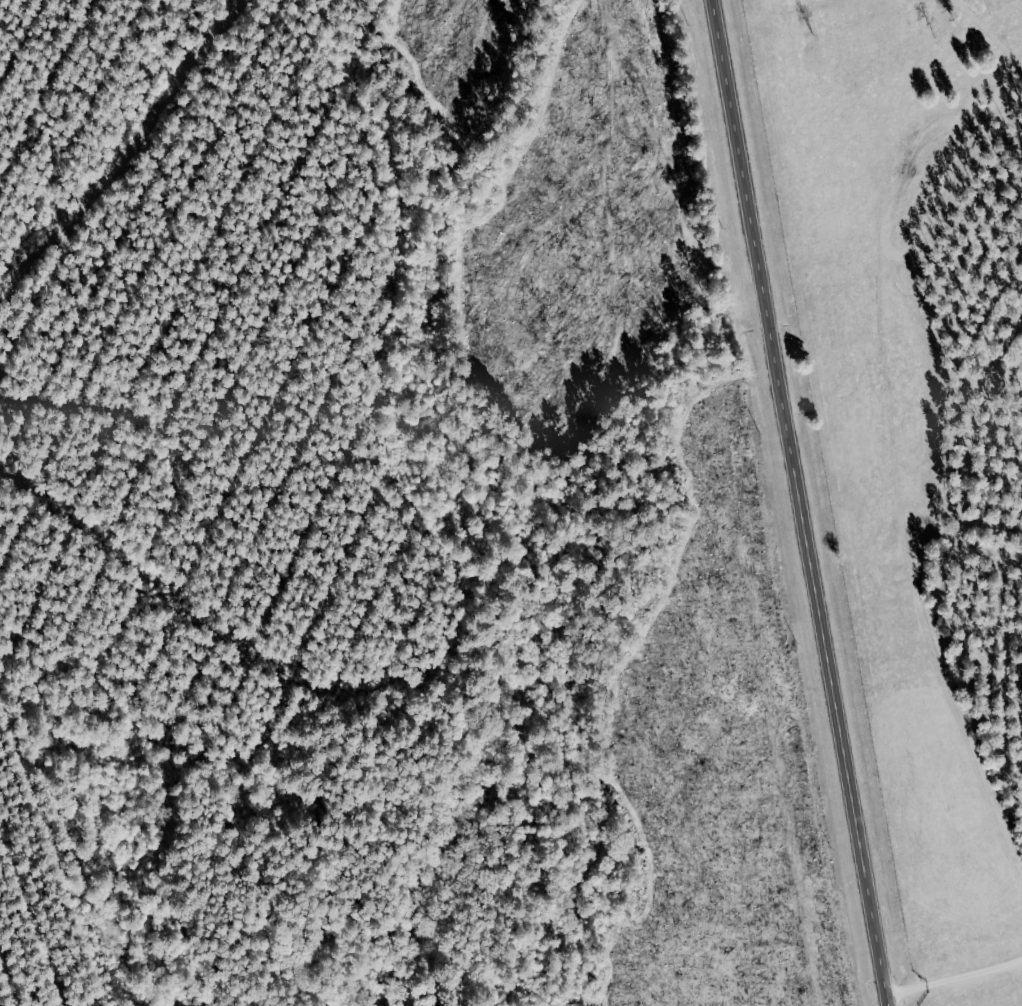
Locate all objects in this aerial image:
road: (801, 503)
road: (955, 976)

